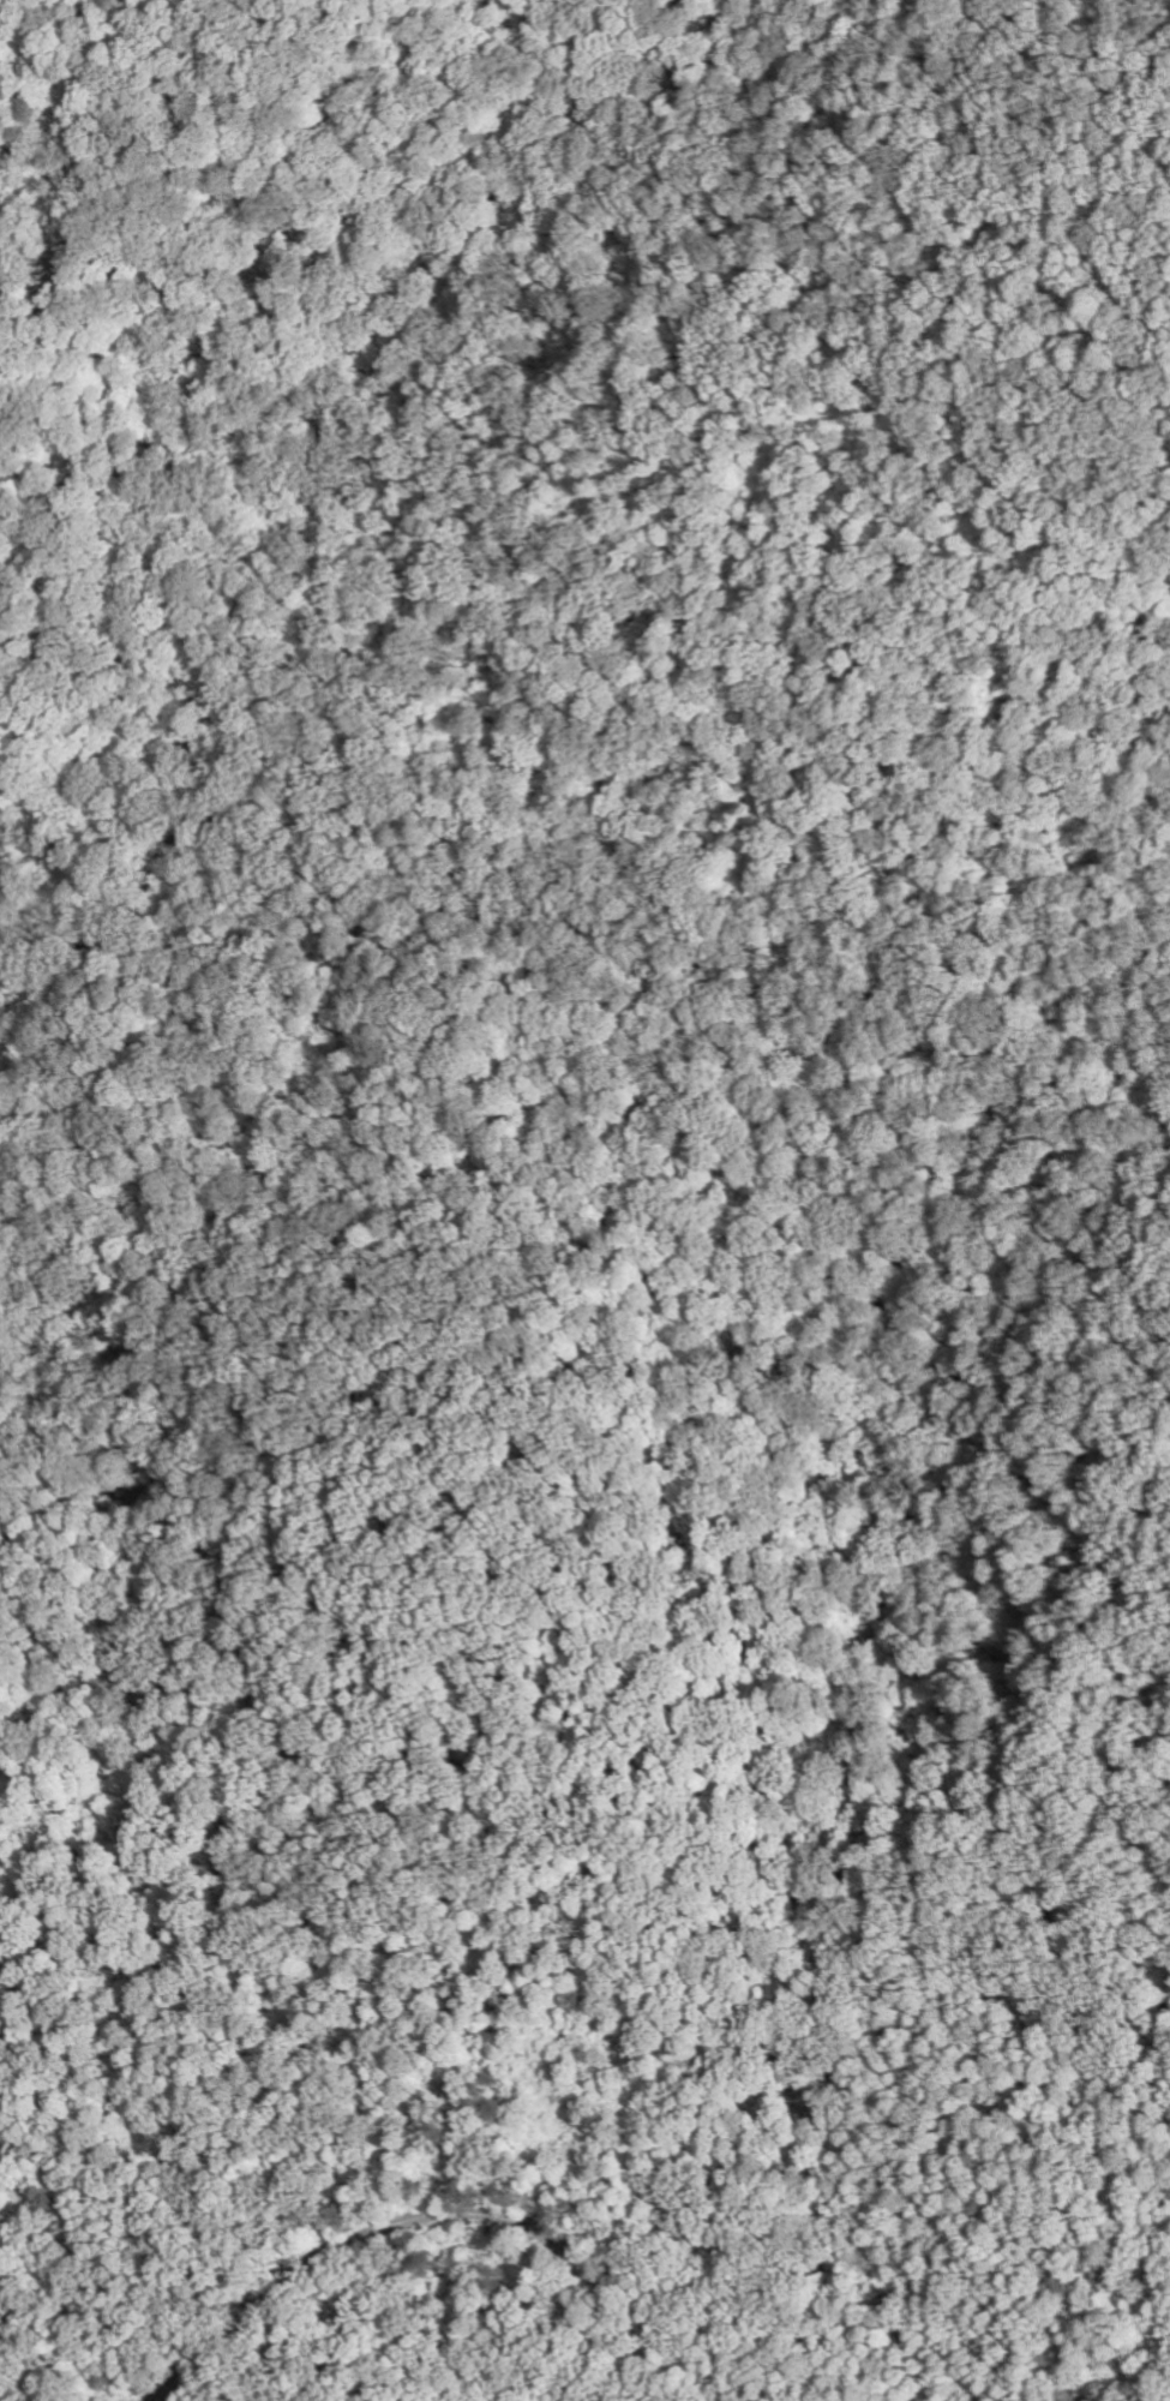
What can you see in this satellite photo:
road: (448, 2216)

